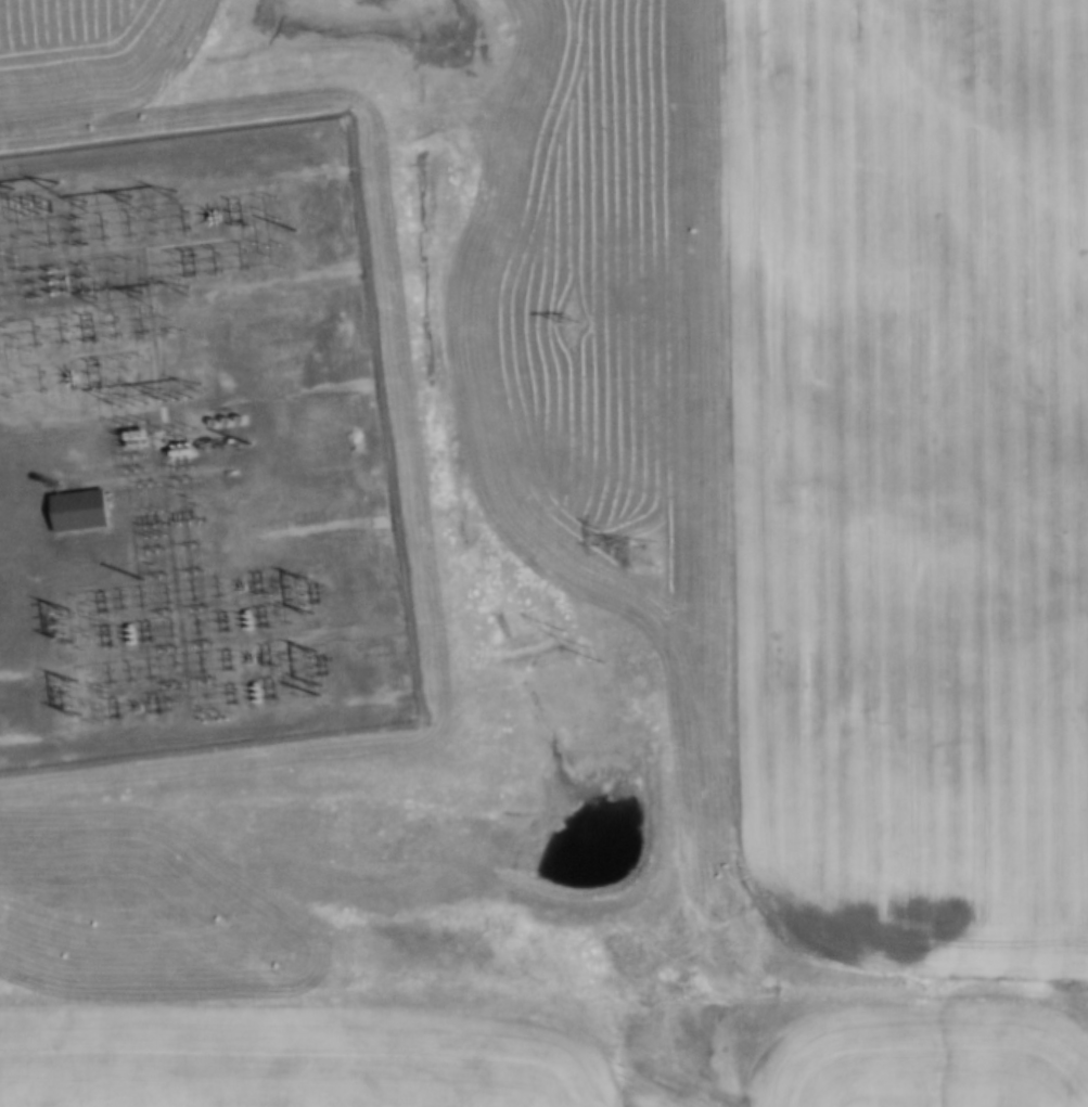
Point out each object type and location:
power substation: (191, 449)
road: (15, 478)
building: (81, 509)
power tower: (649, 559)
power tower: (578, 646)
road: (254, 800)

